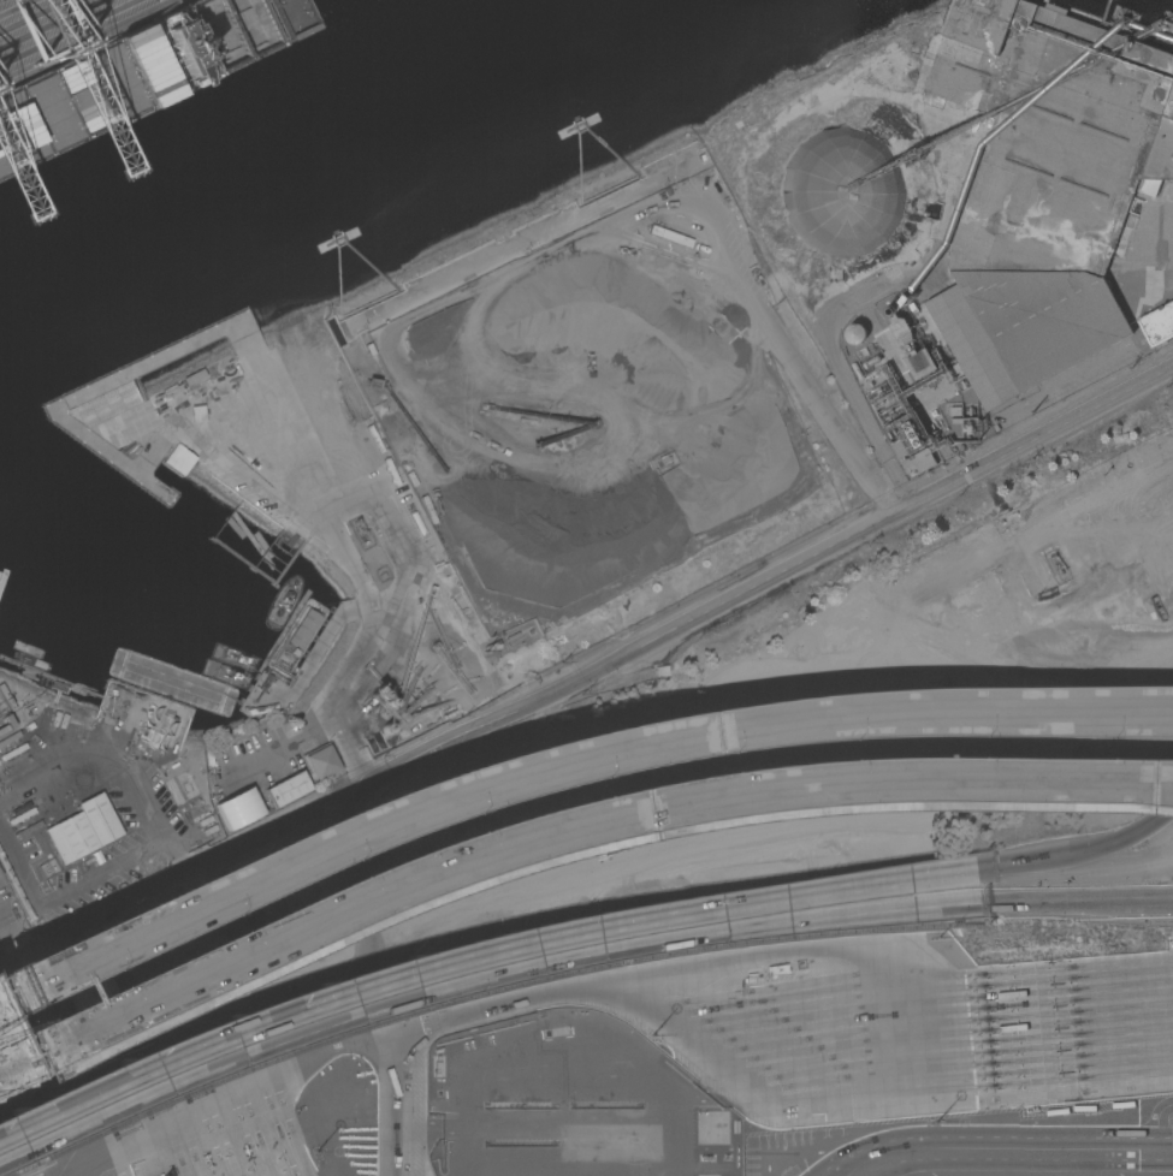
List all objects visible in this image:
building: (259, 22)
building: (1044, 185)
building: (840, 192)
building: (1157, 323)
building: (854, 333)
storage tank: (854, 333)
building: (920, 362)
road: (845, 378)
power plant: (912, 384)
building: (144, 417)
building: (905, 435)
building: (179, 459)
building: (919, 462)
building: (971, 540)
petroleum well: (1056, 565)
building: (917, 569)
building: (304, 629)
road: (348, 670)
road: (587, 672)
building: (665, 672)
road: (564, 759)
building: (321, 761)
road: (1032, 780)
building: (171, 789)
building: (288, 790)
road: (1032, 791)
building: (238, 808)
road: (155, 816)
building: (83, 828)
road: (112, 867)
road: (429, 867)
road: (355, 874)
road: (18, 938)
road: (783, 993)
building: (51, 1039)
road: (397, 1062)
road: (229, 1091)
road: (1160, 1110)
road: (1155, 1135)
road: (996, 1145)

